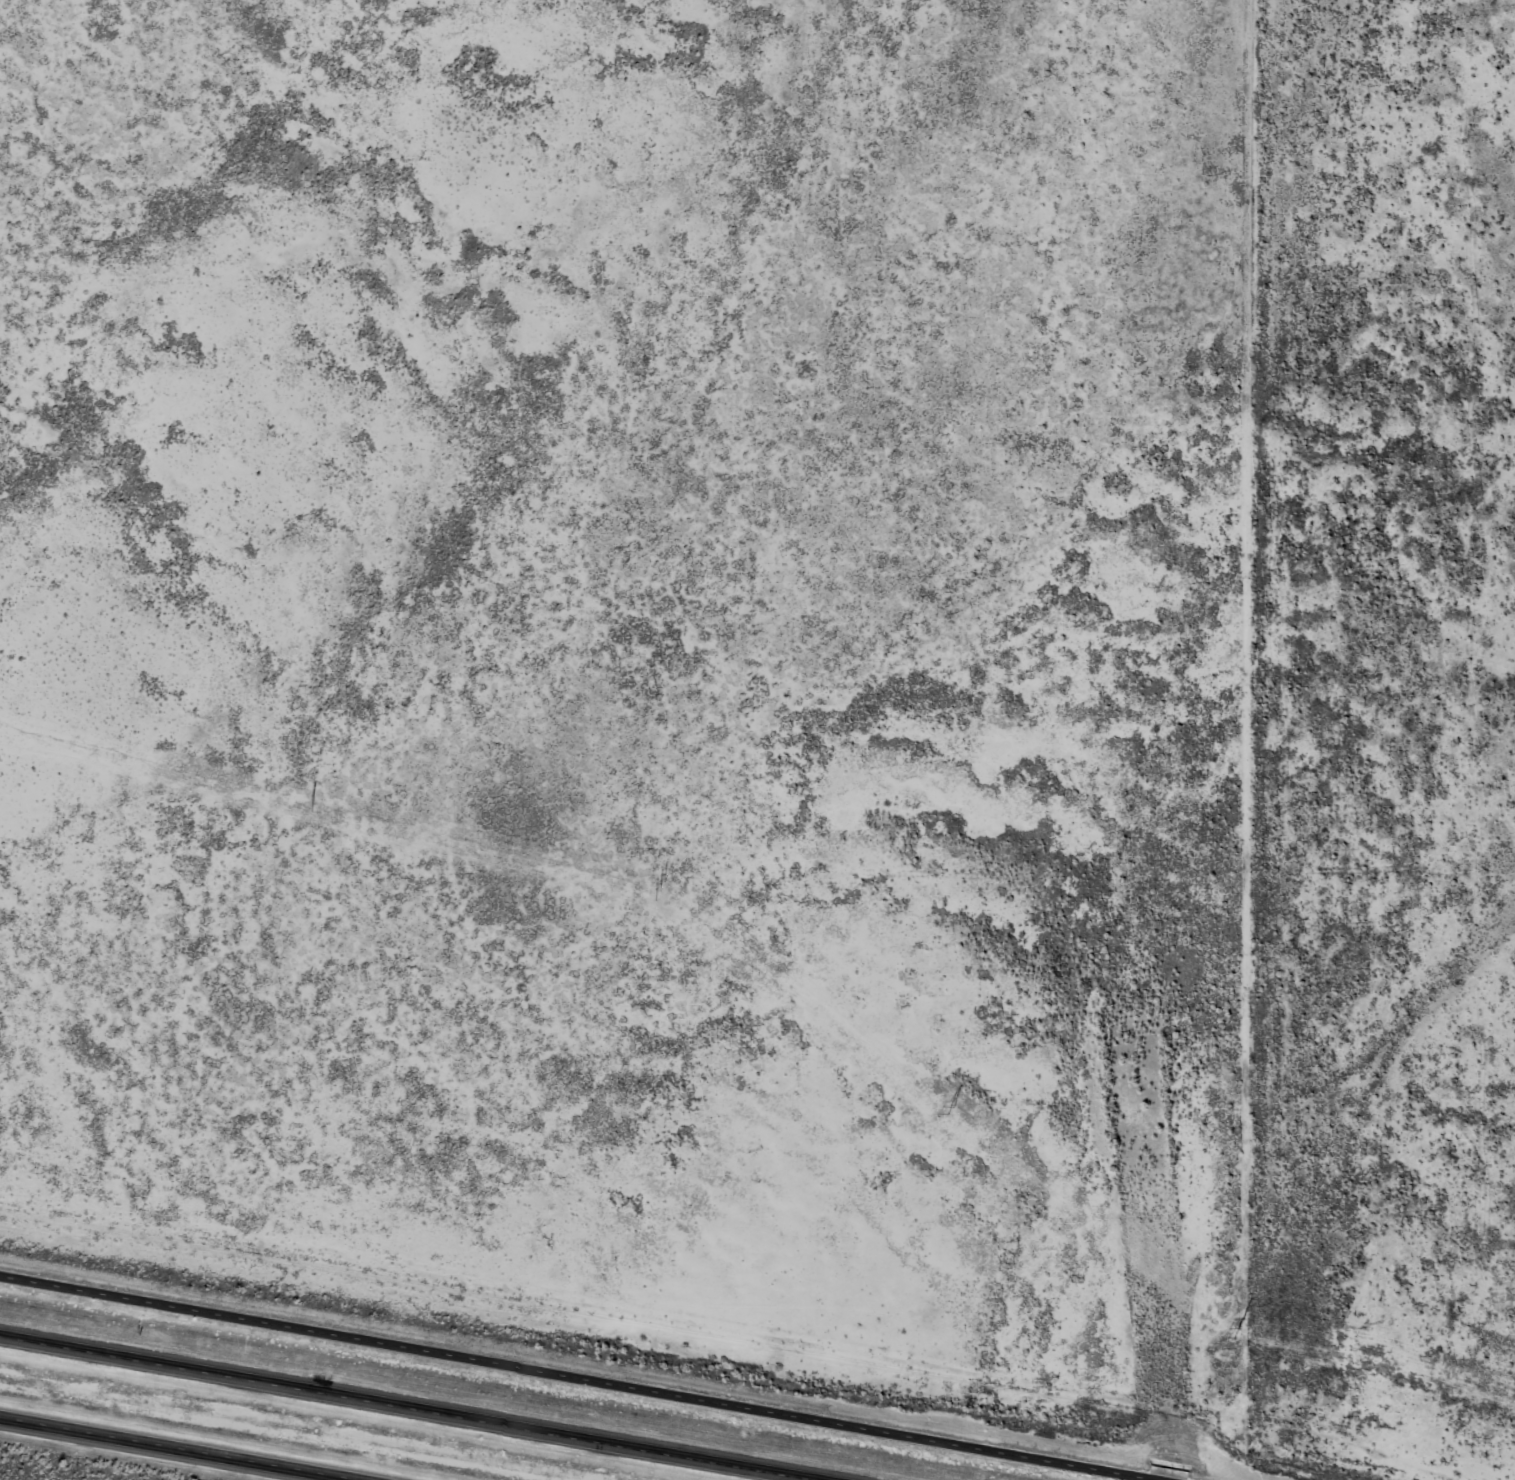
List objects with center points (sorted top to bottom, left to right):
power tower: (312, 807)
power tower: (660, 890)
power tower: (952, 1110)
power tower: (1241, 1327)
road: (587, 1379)
road: (433, 1404)
road: (167, 1449)

